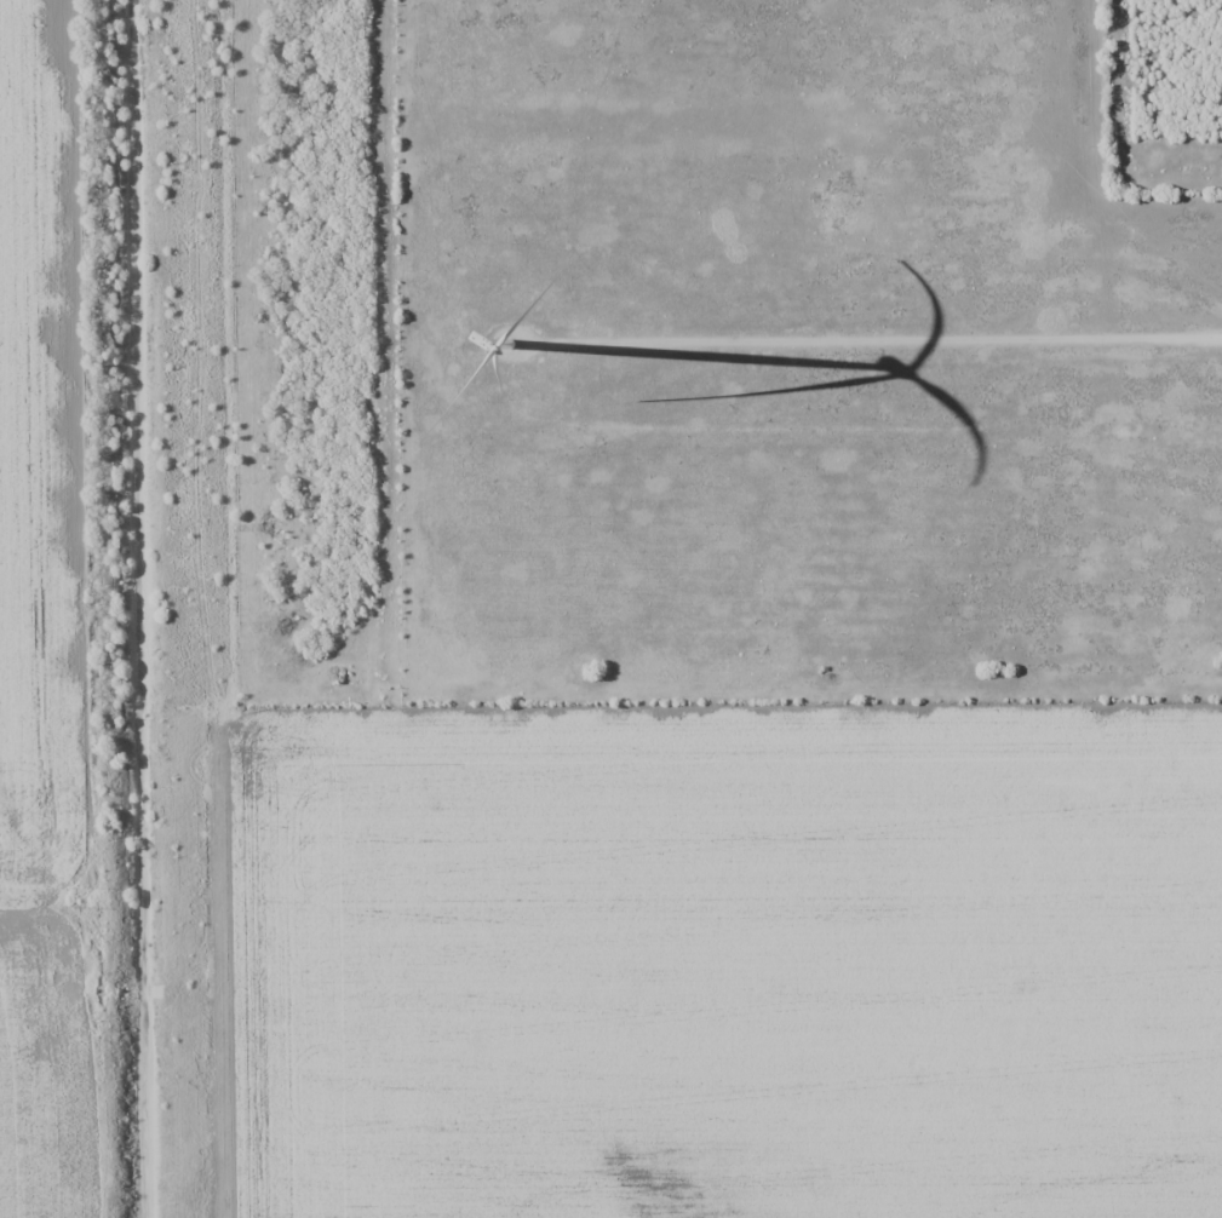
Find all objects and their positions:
wind turbine: (516, 343)
road: (384, 609)

